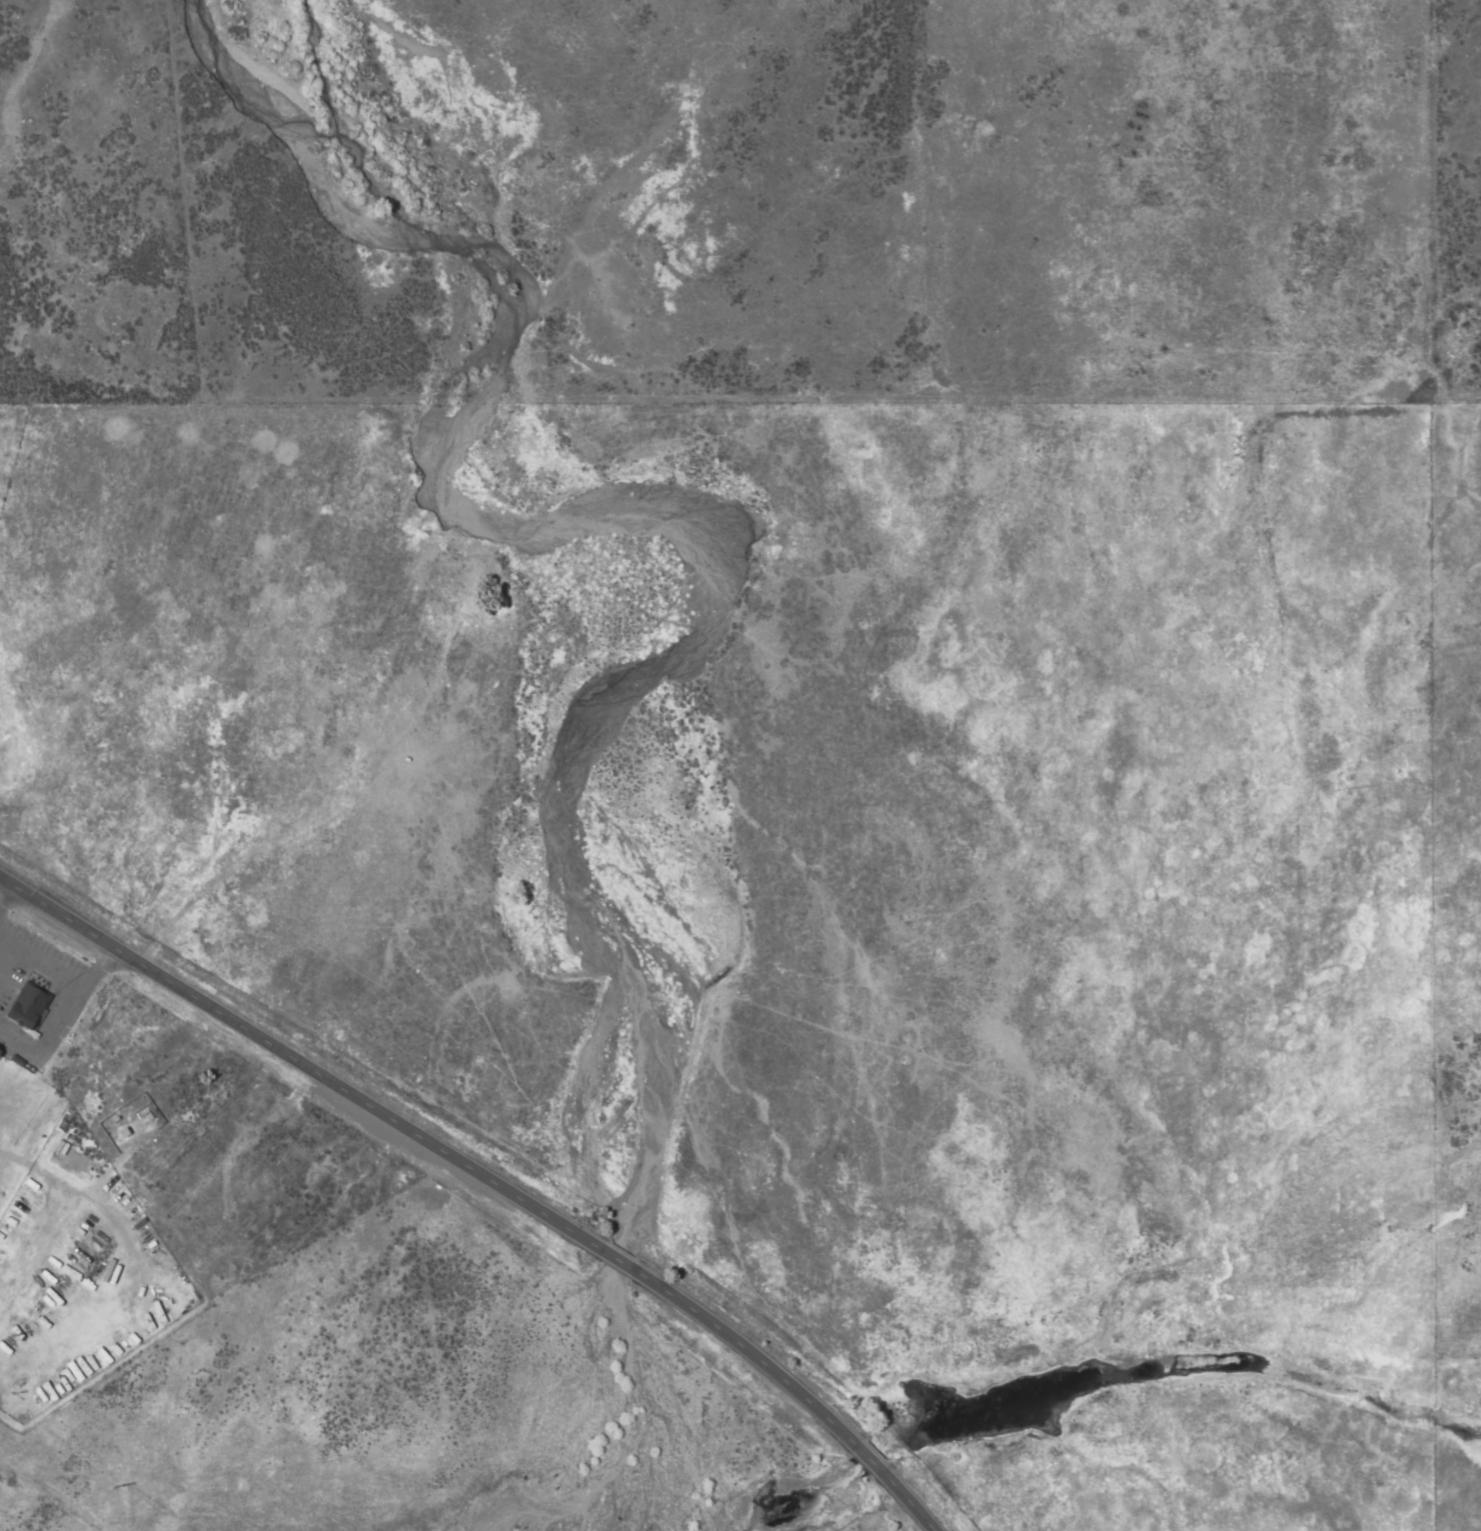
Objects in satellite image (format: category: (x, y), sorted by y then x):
road: (16, 887)
road: (7, 899)
road: (74, 923)
road: (46, 955)
road: (77, 1002)
building: (25, 1006)
road: (18, 1046)
road: (357, 1097)
road: (617, 1260)
road: (750, 1353)
road: (869, 1459)
road: (908, 1501)

